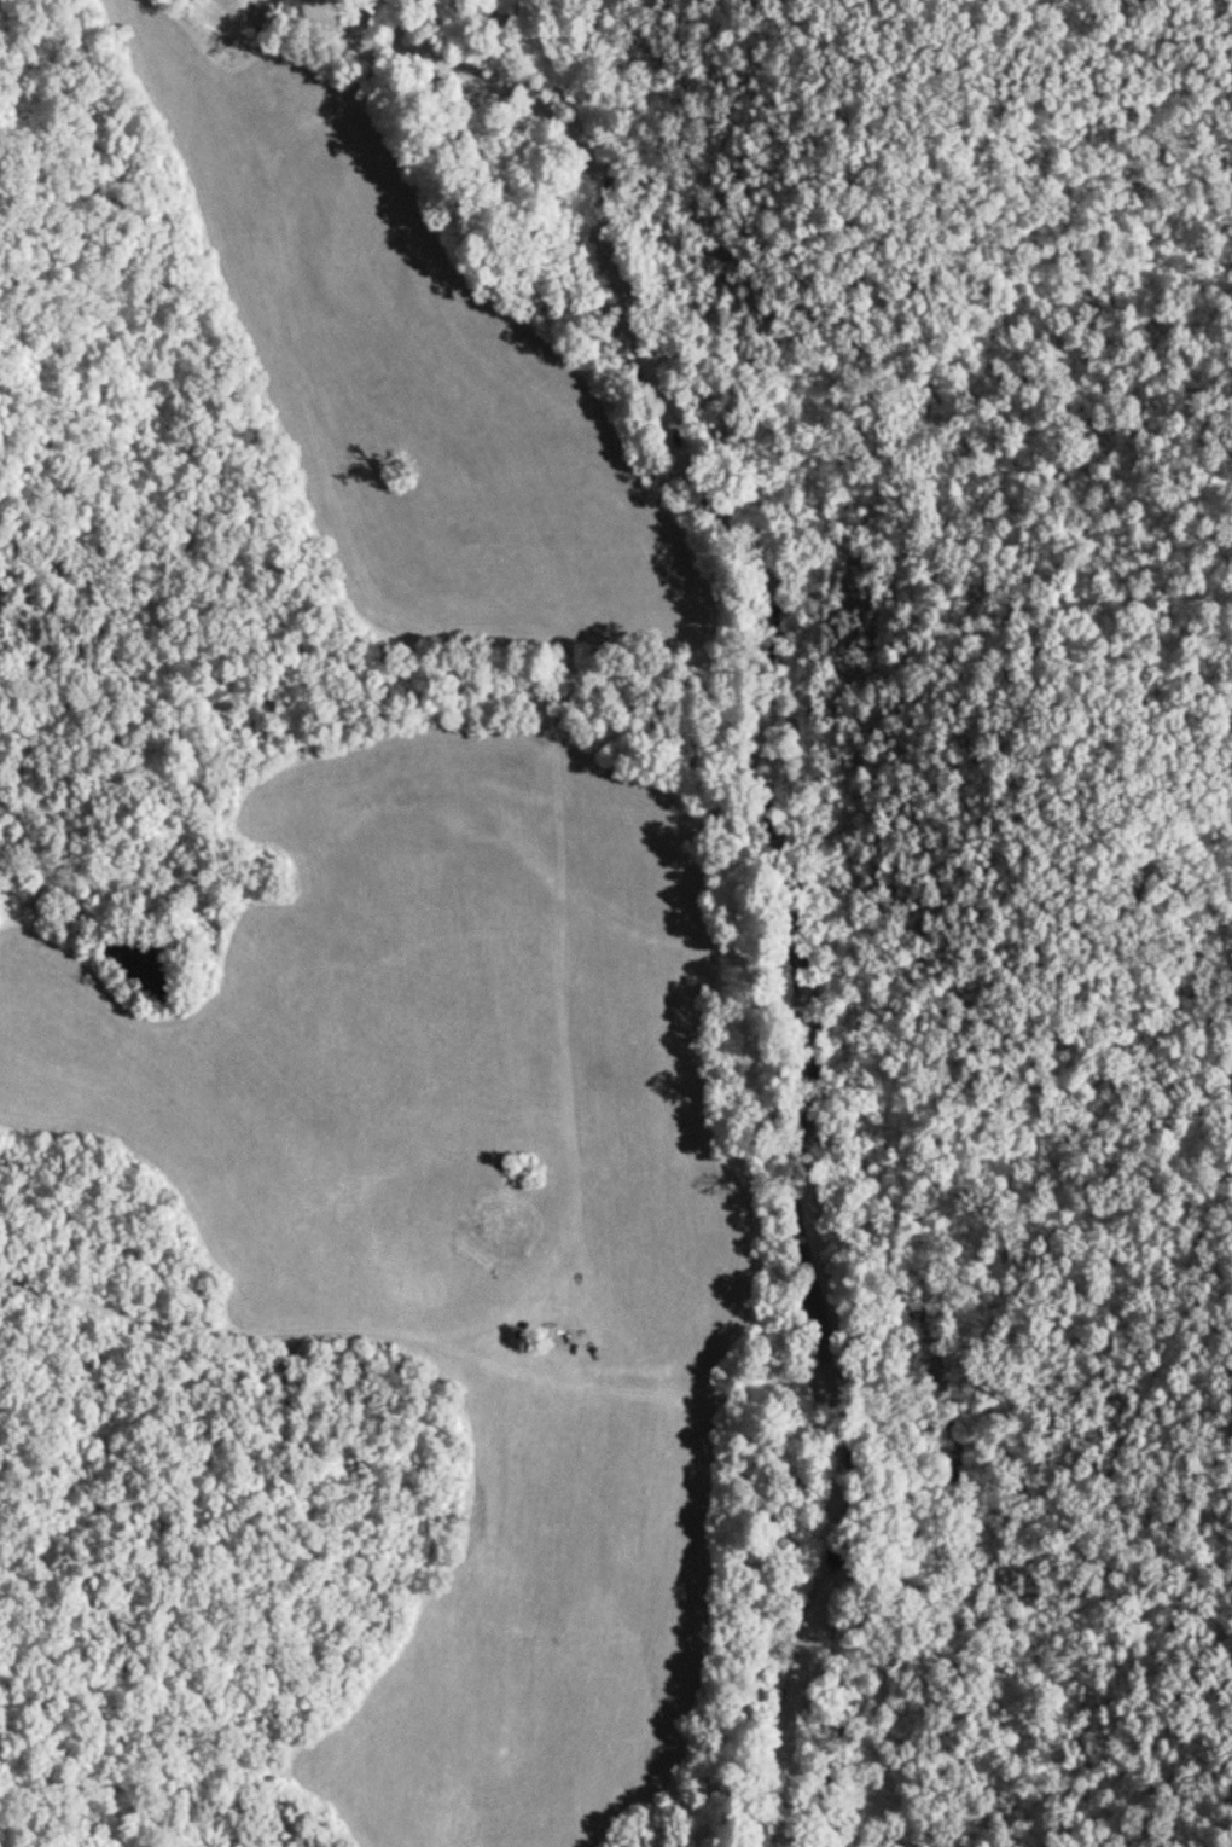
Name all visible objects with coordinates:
road: (327, 1324)

